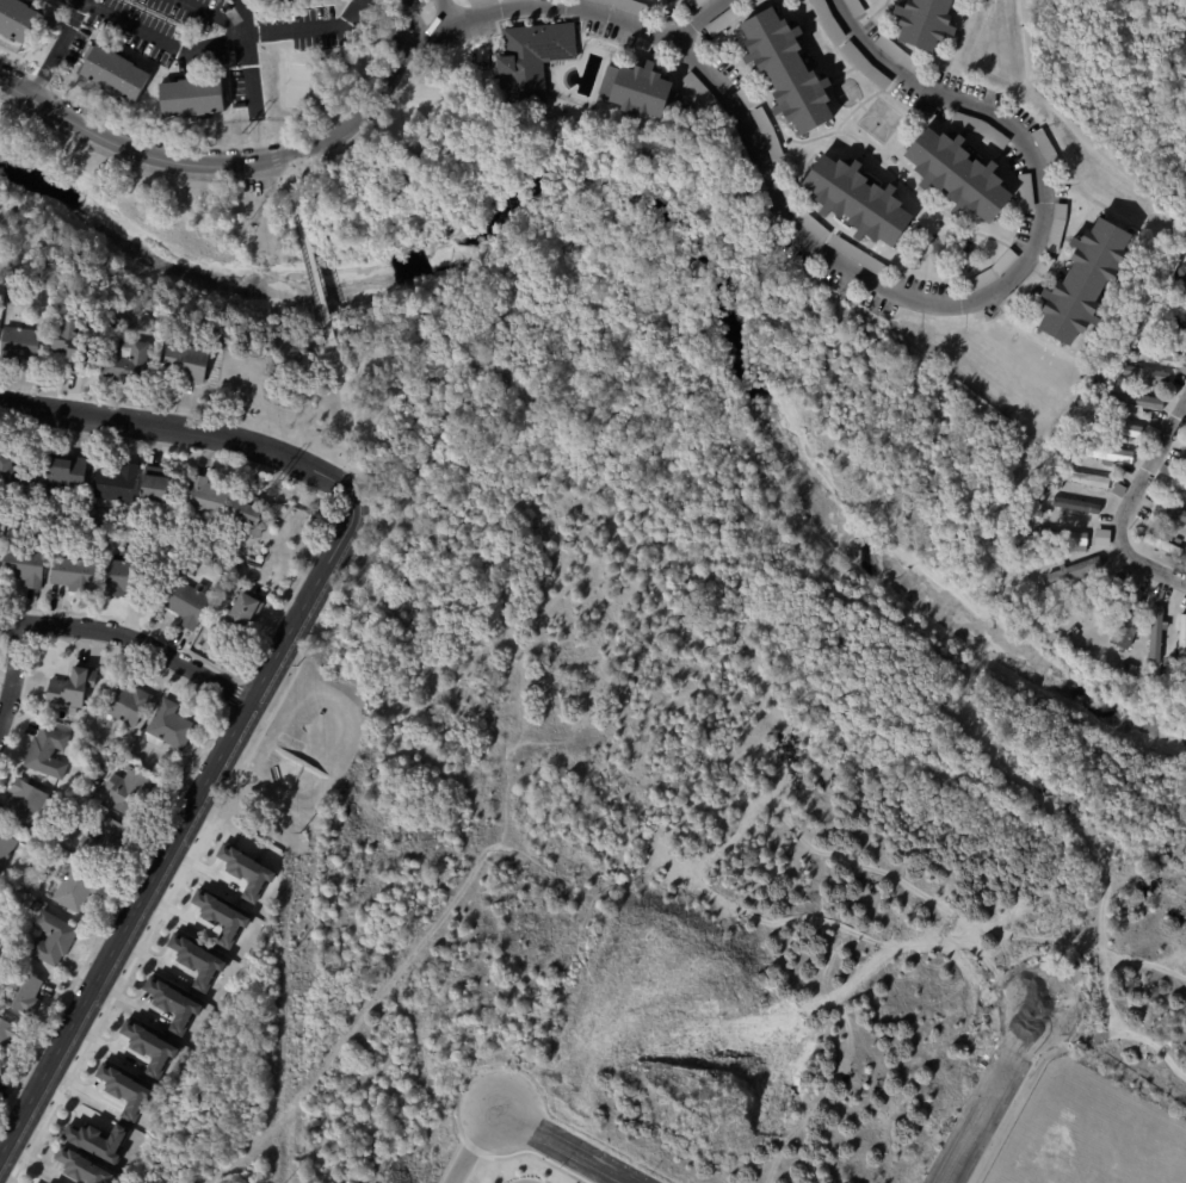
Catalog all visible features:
building: (753, 1)
building: (698, 2)
building: (629, 6)
road: (446, 10)
road: (211, 12)
building: (25, 18)
road: (700, 19)
building: (722, 20)
building: (828, 20)
building: (929, 23)
road: (310, 27)
road: (162, 39)
road: (58, 49)
building: (898, 54)
building: (536, 60)
building: (864, 64)
building: (790, 70)
building: (115, 73)
road: (251, 80)
building: (643, 92)
building: (746, 97)
building: (193, 98)
road: (372, 101)
building: (710, 101)
building: (767, 134)
road: (130, 145)
building: (960, 175)
road: (290, 185)
building: (1026, 191)
building: (861, 200)
building: (813, 224)
building: (857, 255)
building: (1185, 259)
building: (1180, 272)
road: (865, 278)
road: (315, 279)
building: (1088, 281)
building: (1025, 285)
building: (12, 299)
building: (1169, 322)
building: (1153, 329)
building: (75, 343)
building: (21, 345)
building: (222, 347)
building: (1163, 347)
building: (1134, 353)
building: (128, 360)
building: (190, 363)
building: (1182, 366)
building: (1144, 374)
building: (1136, 398)
road: (344, 417)
road: (184, 427)
building: (1118, 428)
building: (1150, 431)
building: (1106, 452)
building: (1184, 457)
building: (1075, 459)
building: (1166, 469)
building: (70, 470)
building: (17, 478)
building: (156, 482)
building: (119, 483)
building: (1057, 483)
building: (1087, 483)
building: (1179, 483)
building: (1118, 488)
building: (210, 497)
road: (1126, 502)
building: (1074, 503)
building: (1185, 506)
building: (1048, 509)
building: (1168, 513)
building: (253, 515)
building: (1062, 539)
building: (1163, 543)
building: (27, 565)
building: (1074, 570)
building: (78, 571)
building: (128, 577)
building: (247, 581)
building: (190, 602)
building: (1101, 602)
building: (247, 612)
building: (1125, 627)
building: (1075, 630)
building: (1156, 633)
road: (131, 638)
building: (1181, 638)
building: (1130, 669)
road: (13, 675)
building: (75, 688)
building: (130, 704)
building: (52, 710)
building: (172, 726)
building: (50, 752)
building: (129, 791)
building: (29, 804)
road: (181, 828)
building: (110, 842)
building: (7, 849)
building: (246, 871)
building: (78, 886)
building: (221, 917)
building: (55, 939)
building: (197, 960)
building: (24, 991)
building: (173, 1004)
building: (8, 1035)
building: (149, 1047)
building: (125, 1091)
road: (995, 1094)
building: (98, 1140)
road: (471, 1145)
road: (562, 1145)
building: (82, 1166)
building: (35, 1182)

